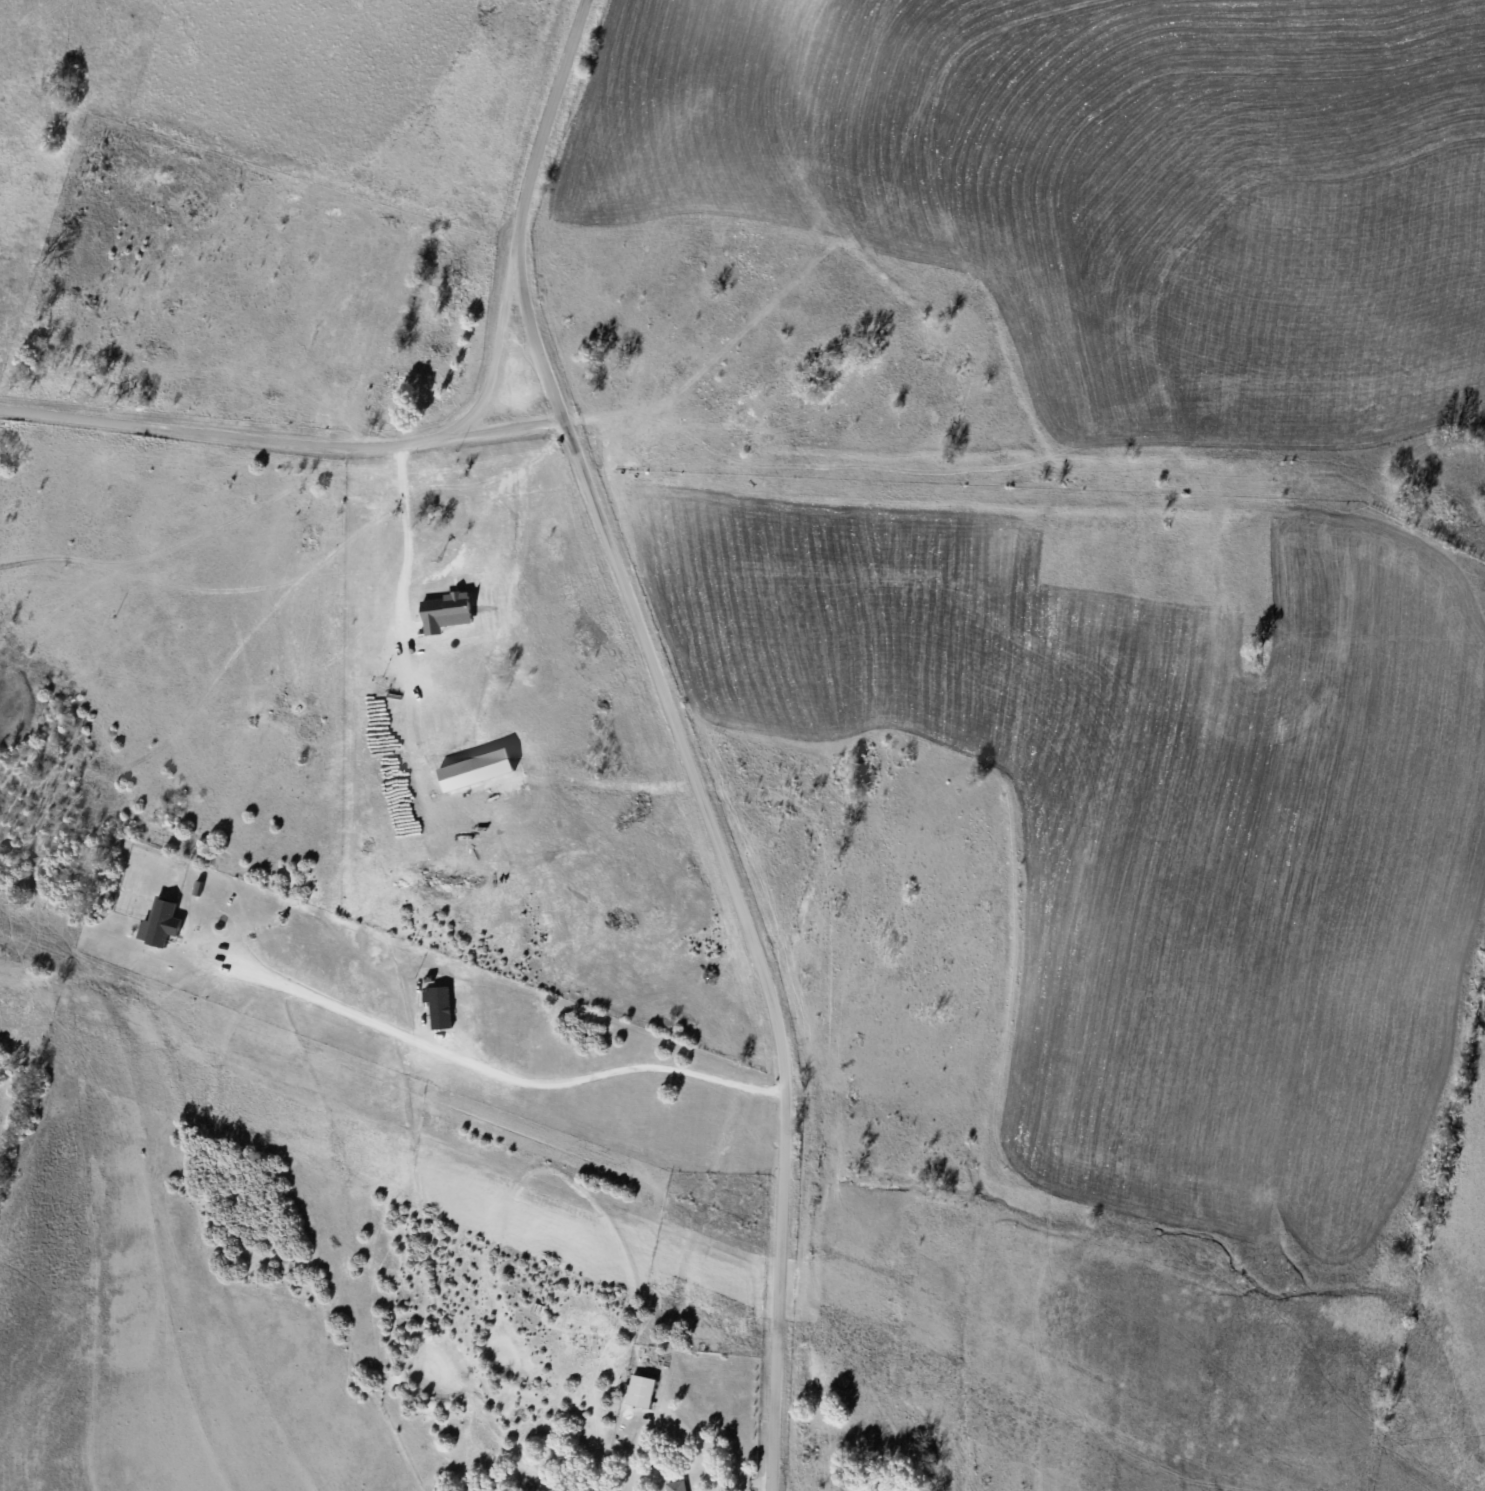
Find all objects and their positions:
road: (527, 210)
road: (281, 438)
road: (748, 944)
road: (483, 1069)
building: (640, 1390)
building: (676, 1485)

